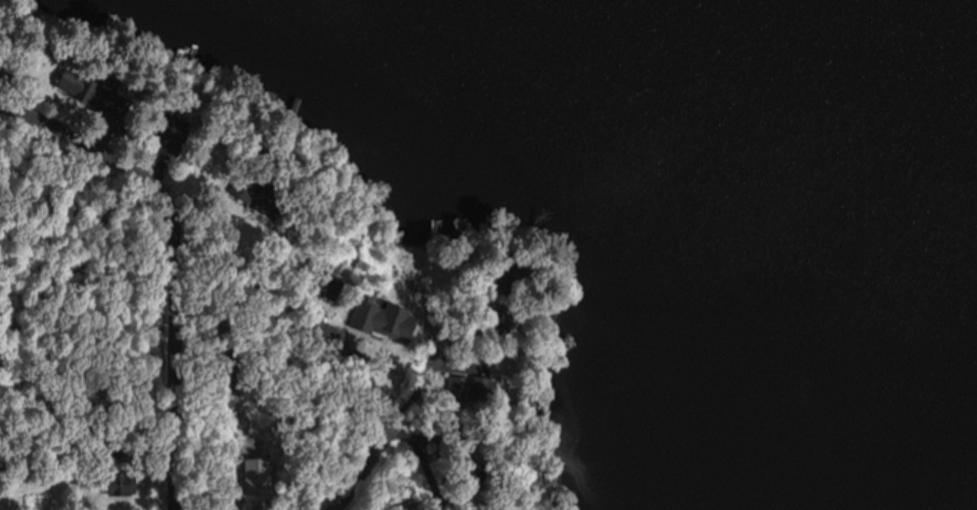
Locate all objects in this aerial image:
building: (84, 91)
building: (157, 129)
road: (168, 266)
building: (379, 318)
road: (377, 407)
building: (119, 483)
road: (318, 509)

